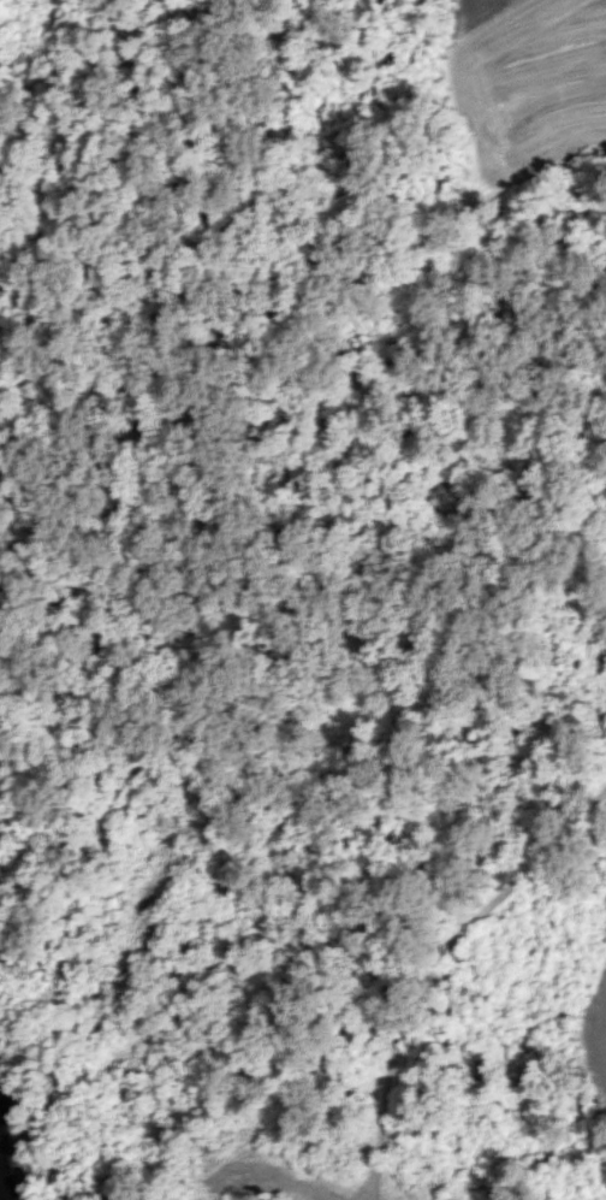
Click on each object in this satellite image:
crop: (531, 89)
crop: (593, 1025)

